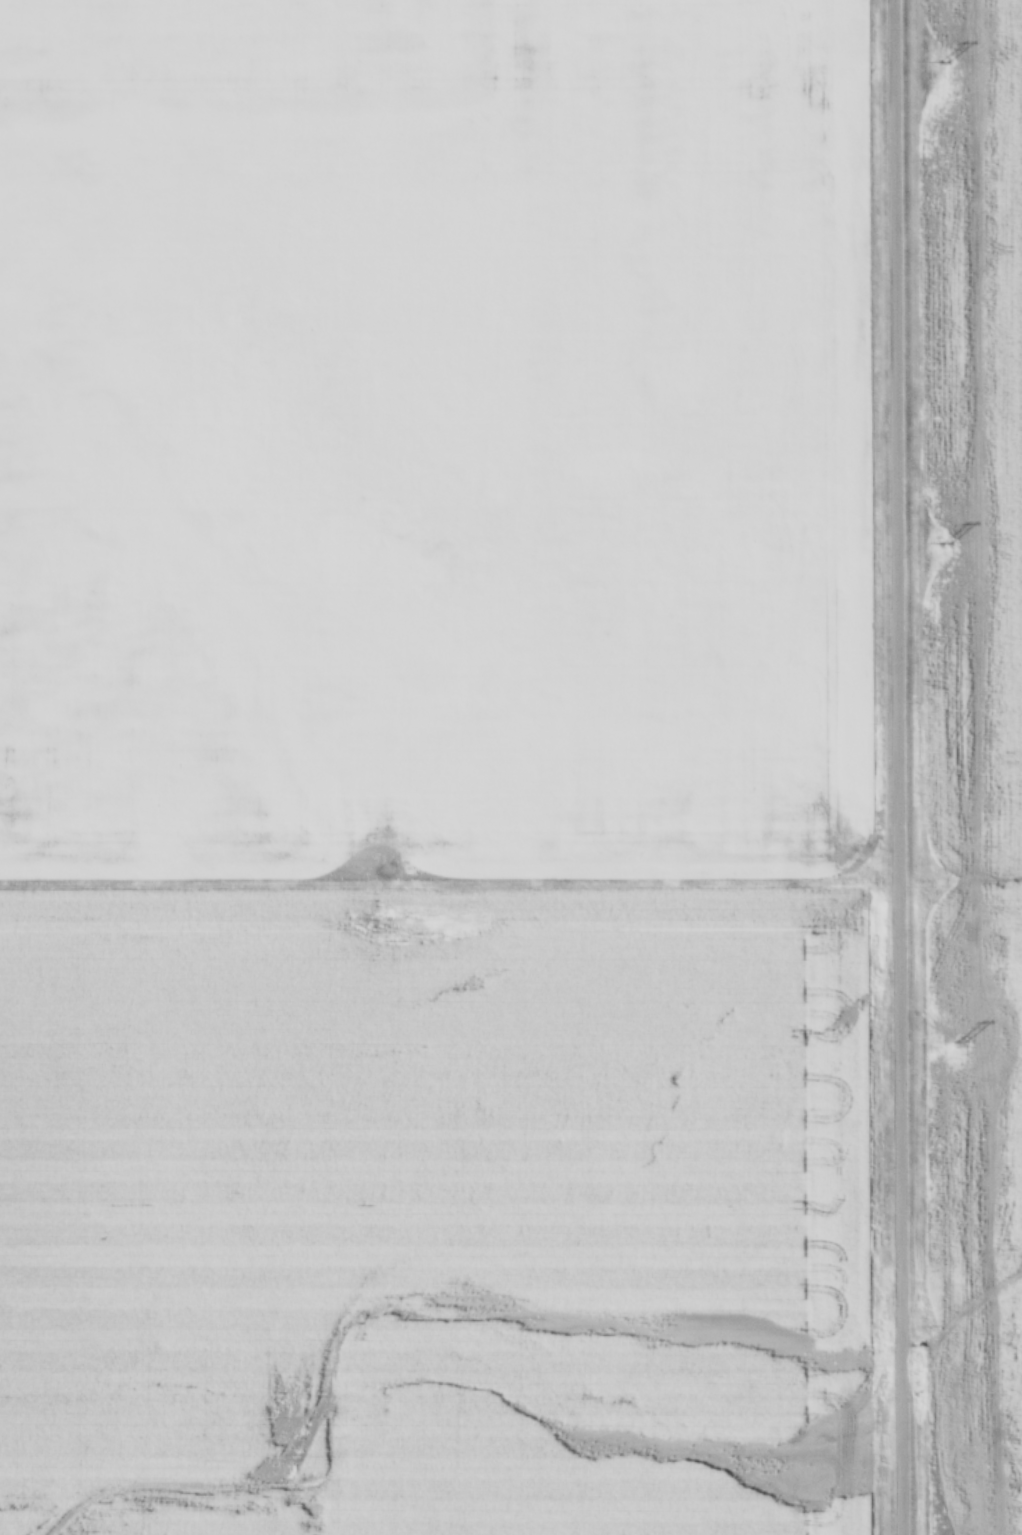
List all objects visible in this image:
power tower: (943, 64)
power tower: (947, 545)
road: (901, 767)
power tower: (961, 1043)

